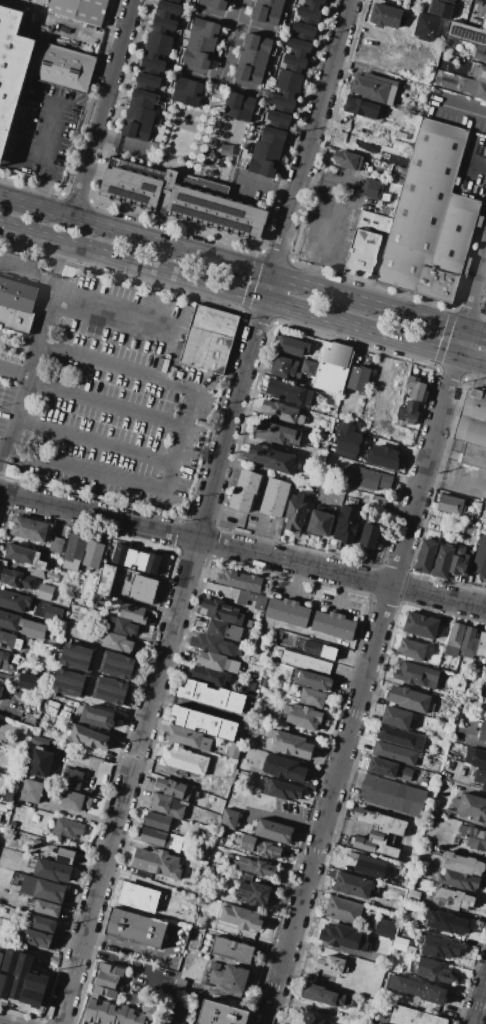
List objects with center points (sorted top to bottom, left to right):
building: (26, 0)
building: (179, 0)
building: (400, 0)
building: (430, 0)
building: (173, 1)
building: (279, 1)
building: (480, 2)
building: (315, 3)
building: (214, 4)
building: (167, 9)
building: (440, 9)
building: (79, 11)
building: (267, 11)
building: (308, 15)
building: (386, 16)
road: (236, 22)
building: (163, 25)
building: (425, 27)
road: (72, 29)
building: (303, 31)
building: (204, 32)
building: (467, 32)
road: (231, 40)
building: (158, 45)
building: (257, 47)
building: (299, 47)
building: (479, 53)
building: (198, 55)
building: (295, 62)
building: (61, 66)
building: (152, 66)
building: (12, 70)
building: (250, 70)
building: (479, 73)
road: (220, 81)
building: (147, 82)
building: (288, 83)
building: (374, 87)
building: (475, 89)
building: (187, 91)
building: (282, 103)
building: (239, 106)
building: (360, 108)
road: (104, 109)
building: (140, 115)
building: (278, 119)
road: (79, 126)
road: (49, 141)
road: (125, 144)
building: (267, 152)
building: (347, 160)
road: (267, 185)
building: (371, 189)
road: (45, 194)
road: (75, 196)
building: (183, 201)
building: (431, 218)
road: (333, 220)
road: (199, 232)
building: (366, 243)
road: (295, 261)
road: (255, 265)
road: (243, 266)
road: (28, 268)
road: (242, 294)
building: (16, 305)
road: (108, 309)
road: (484, 311)
road: (448, 321)
building: (208, 338)
building: (292, 346)
road: (32, 361)
road: (118, 367)
building: (332, 367)
building: (285, 368)
building: (308, 368)
road: (14, 374)
building: (195, 375)
building: (357, 378)
building: (416, 389)
building: (289, 392)
parking lot: (106, 397)
road: (109, 403)
building: (282, 412)
building: (410, 412)
building: (472, 419)
building: (278, 434)
road: (187, 439)
road: (99, 441)
building: (345, 441)
road: (4, 445)
building: (474, 456)
building: (382, 457)
building: (272, 458)
road: (92, 468)
building: (365, 477)
road: (456, 482)
building: (244, 491)
building: (275, 497)
building: (450, 504)
road: (207, 512)
building: (295, 512)
building: (319, 523)
building: (346, 524)
building: (30, 529)
building: (369, 536)
building: (56, 544)
building: (75, 549)
road: (243, 550)
building: (93, 553)
building: (22, 555)
building: (426, 557)
building: (478, 558)
building: (135, 559)
building: (443, 562)
building: (459, 564)
building: (41, 565)
building: (52, 576)
building: (17, 579)
building: (105, 580)
building: (238, 580)
road: (294, 580)
building: (143, 589)
building: (45, 592)
road: (340, 592)
building: (252, 600)
building: (14, 601)
building: (221, 611)
building: (286, 612)
building: (52, 613)
building: (132, 613)
building: (9, 620)
building: (249, 623)
building: (334, 624)
building: (122, 625)
building: (420, 625)
building: (32, 629)
building: (223, 630)
building: (7, 640)
building: (454, 640)
building: (115, 641)
building: (469, 643)
building: (18, 644)
building: (212, 644)
road: (377, 645)
building: (481, 645)
building: (319, 649)
building: (412, 649)
building: (78, 657)
building: (4, 661)
building: (219, 661)
building: (304, 661)
building: (117, 664)
building: (38, 668)
building: (416, 674)
building: (211, 675)
road: (112, 677)
building: (26, 681)
building: (313, 681)
building: (70, 683)
building: (0, 685)
building: (1, 691)
building: (110, 691)
road: (88, 694)
building: (312, 698)
building: (407, 698)
building: (213, 699)
road: (6, 711)
building: (299, 716)
building: (97, 717)
building: (397, 717)
building: (205, 722)
building: (482, 731)
building: (89, 737)
building: (188, 737)
building: (401, 737)
road: (464, 740)
building: (250, 742)
building: (293, 746)
building: (234, 751)
building: (395, 752)
building: (475, 757)
building: (185, 758)
building: (40, 762)
road: (100, 769)
building: (286, 769)
building: (391, 769)
building: (480, 777)
building: (72, 779)
road: (451, 782)
building: (173, 789)
building: (32, 791)
building: (285, 791)
building: (8, 795)
building: (393, 795)
building: (75, 801)
building: (210, 803)
building: (470, 804)
building: (167, 805)
road: (282, 818)
building: (229, 819)
building: (157, 821)
building: (66, 829)
building: (273, 830)
building: (378, 831)
building: (472, 835)
building: (153, 837)
building: (37, 843)
building: (176, 843)
building: (262, 849)
building: (206, 851)
building: (59, 852)
building: (460, 862)
building: (156, 863)
building: (369, 865)
building: (256, 866)
building: (51, 870)
building: (458, 880)
building: (353, 885)
building: (43, 889)
building: (253, 893)
building: (411, 894)
building: (453, 899)
building: (138, 900)
building: (48, 908)
building: (347, 911)
building: (241, 918)
building: (445, 922)
building: (43, 923)
building: (384, 926)
building: (136, 928)
building: (194, 935)
building: (34, 937)
building: (346, 937)
building: (401, 945)
building: (439, 947)
road: (140, 949)
building: (233, 951)
building: (1, 957)
road: (130, 962)
building: (331, 963)
building: (110, 968)
building: (433, 970)
building: (107, 976)
building: (231, 977)
building: (104, 983)
building: (417, 989)
building: (104, 991)
road: (485, 993)
building: (328, 997)
road: (481, 1006)
building: (91, 1009)
building: (102, 1012)
building: (150, 1012)
building: (111, 1014)
building: (121, 1014)
building: (221, 1014)
building: (177, 1015)
building: (130, 1016)
building: (413, 1016)
building: (140, 1018)
building: (285, 1023)

